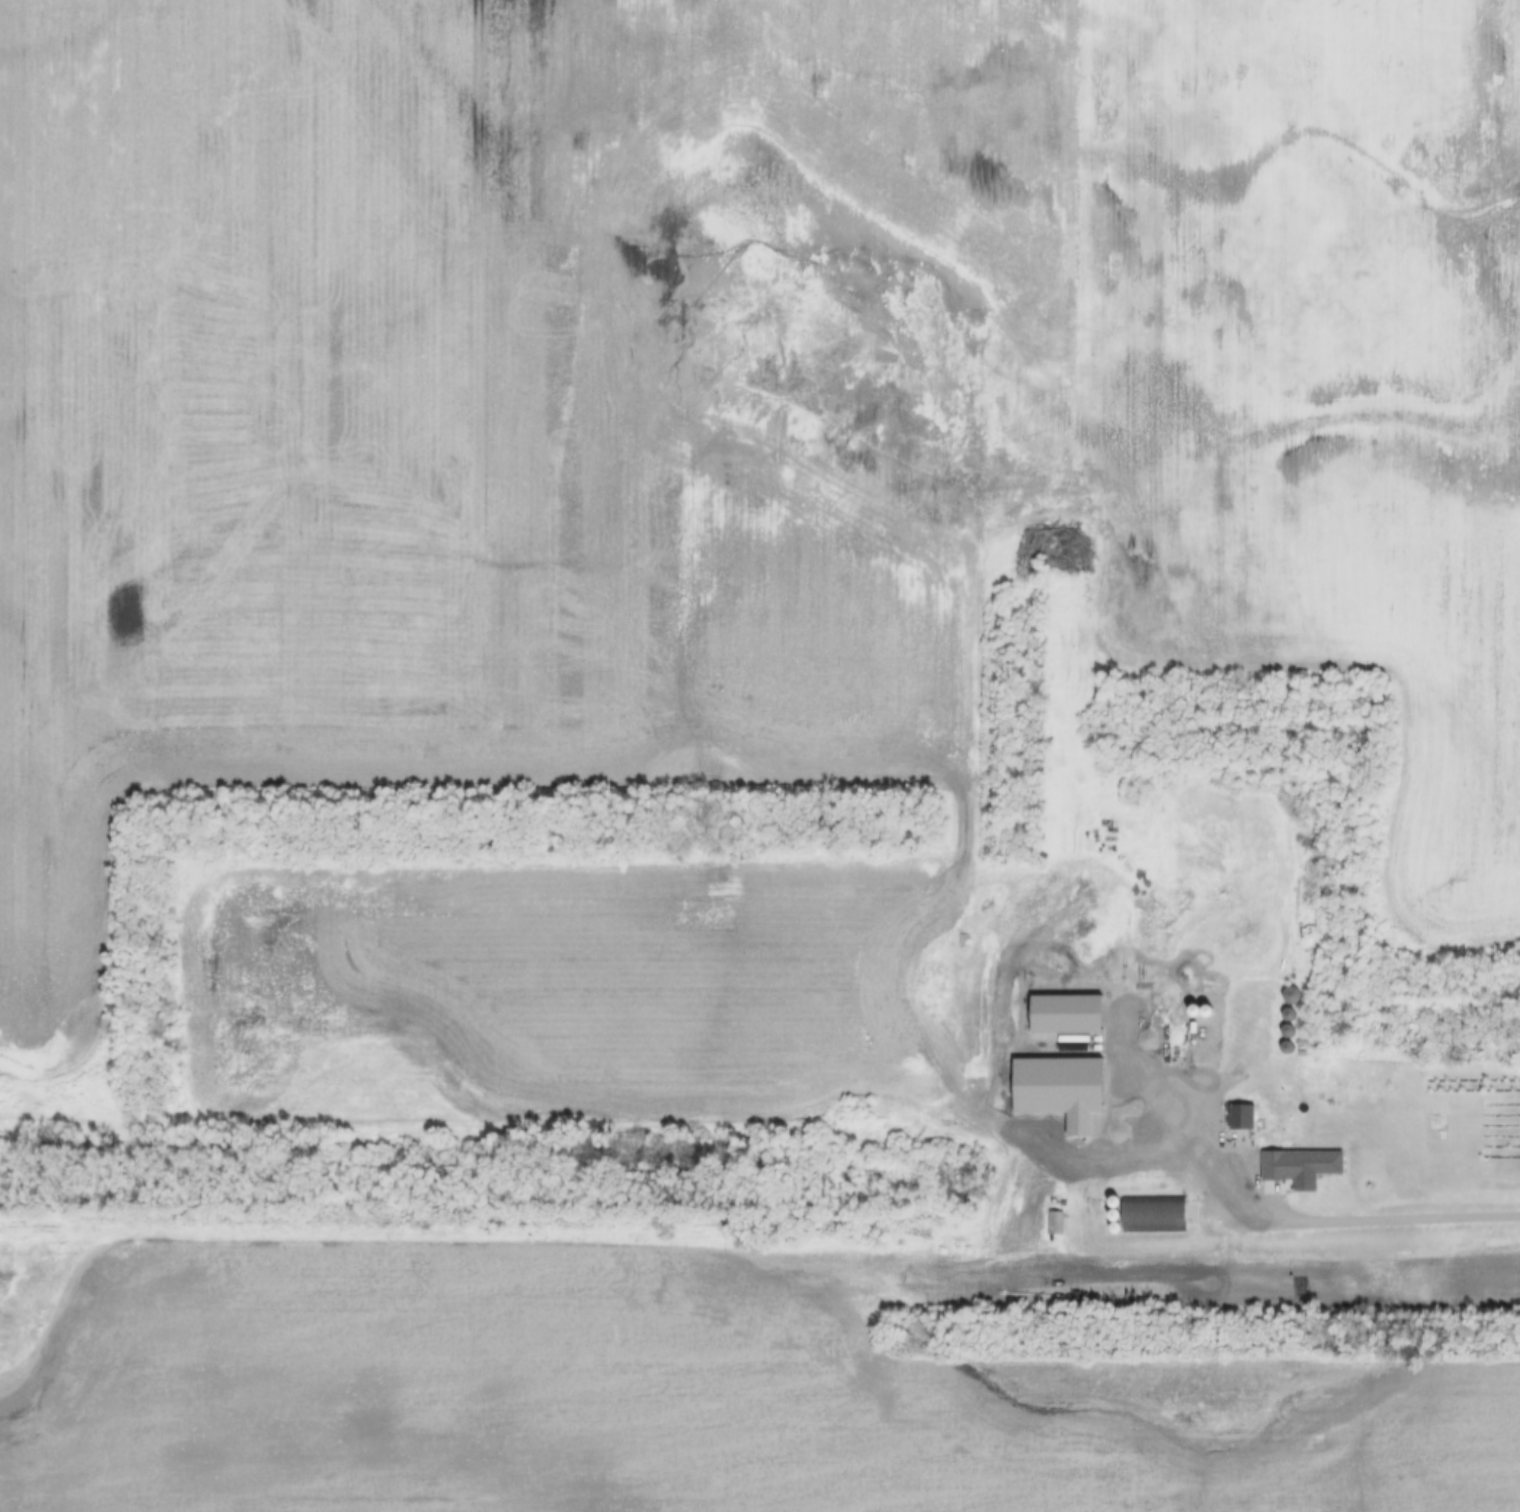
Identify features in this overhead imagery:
building: (1293, 996)
building: (1206, 1031)
building: (1243, 1118)
building: (1302, 1166)
building: (1155, 1216)
road: (1303, 1222)

